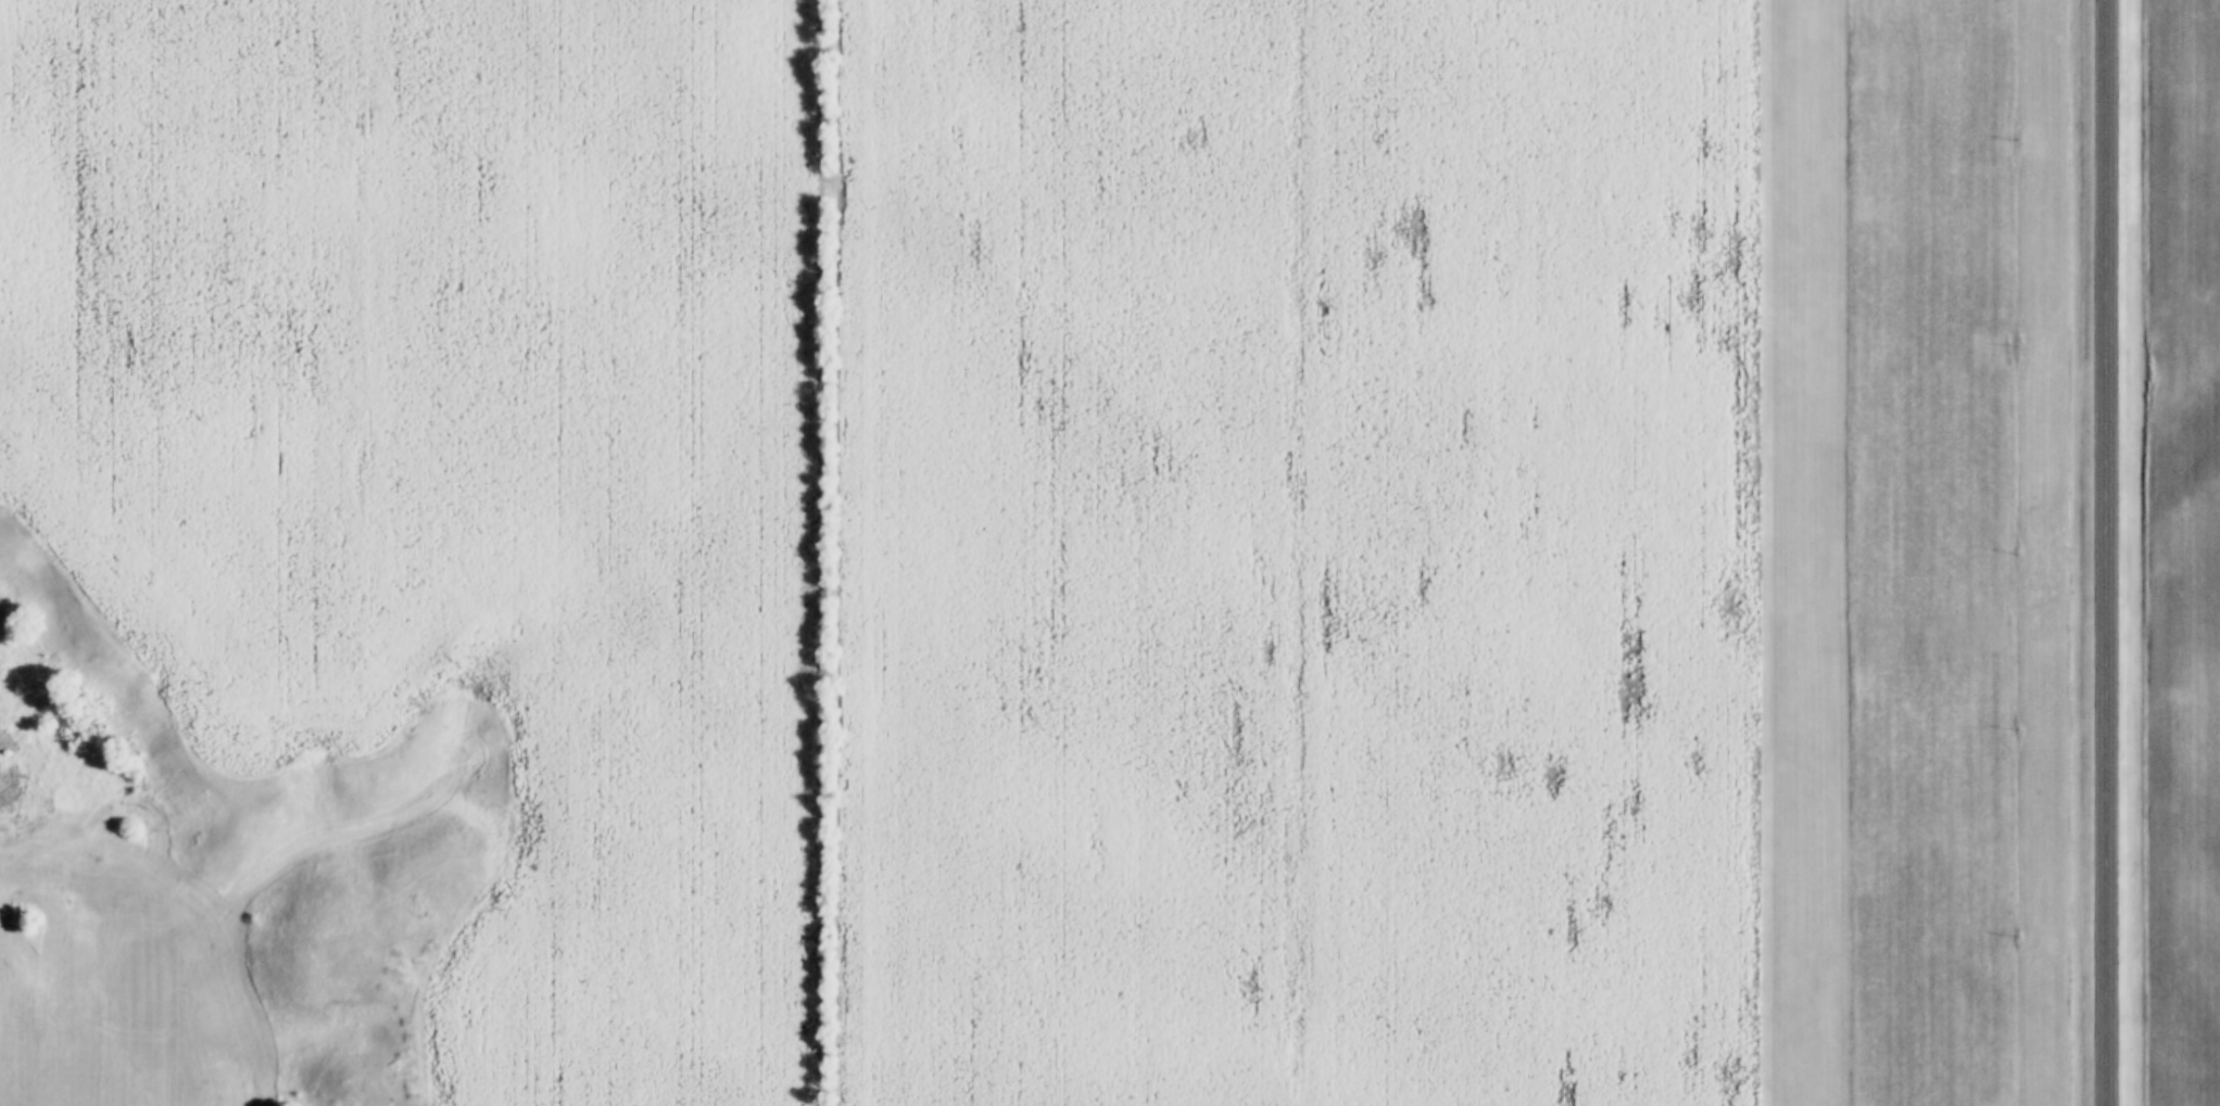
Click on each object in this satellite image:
airport: (1801, 552)
airport runway: (1801, 552)
road: (2105, 552)

